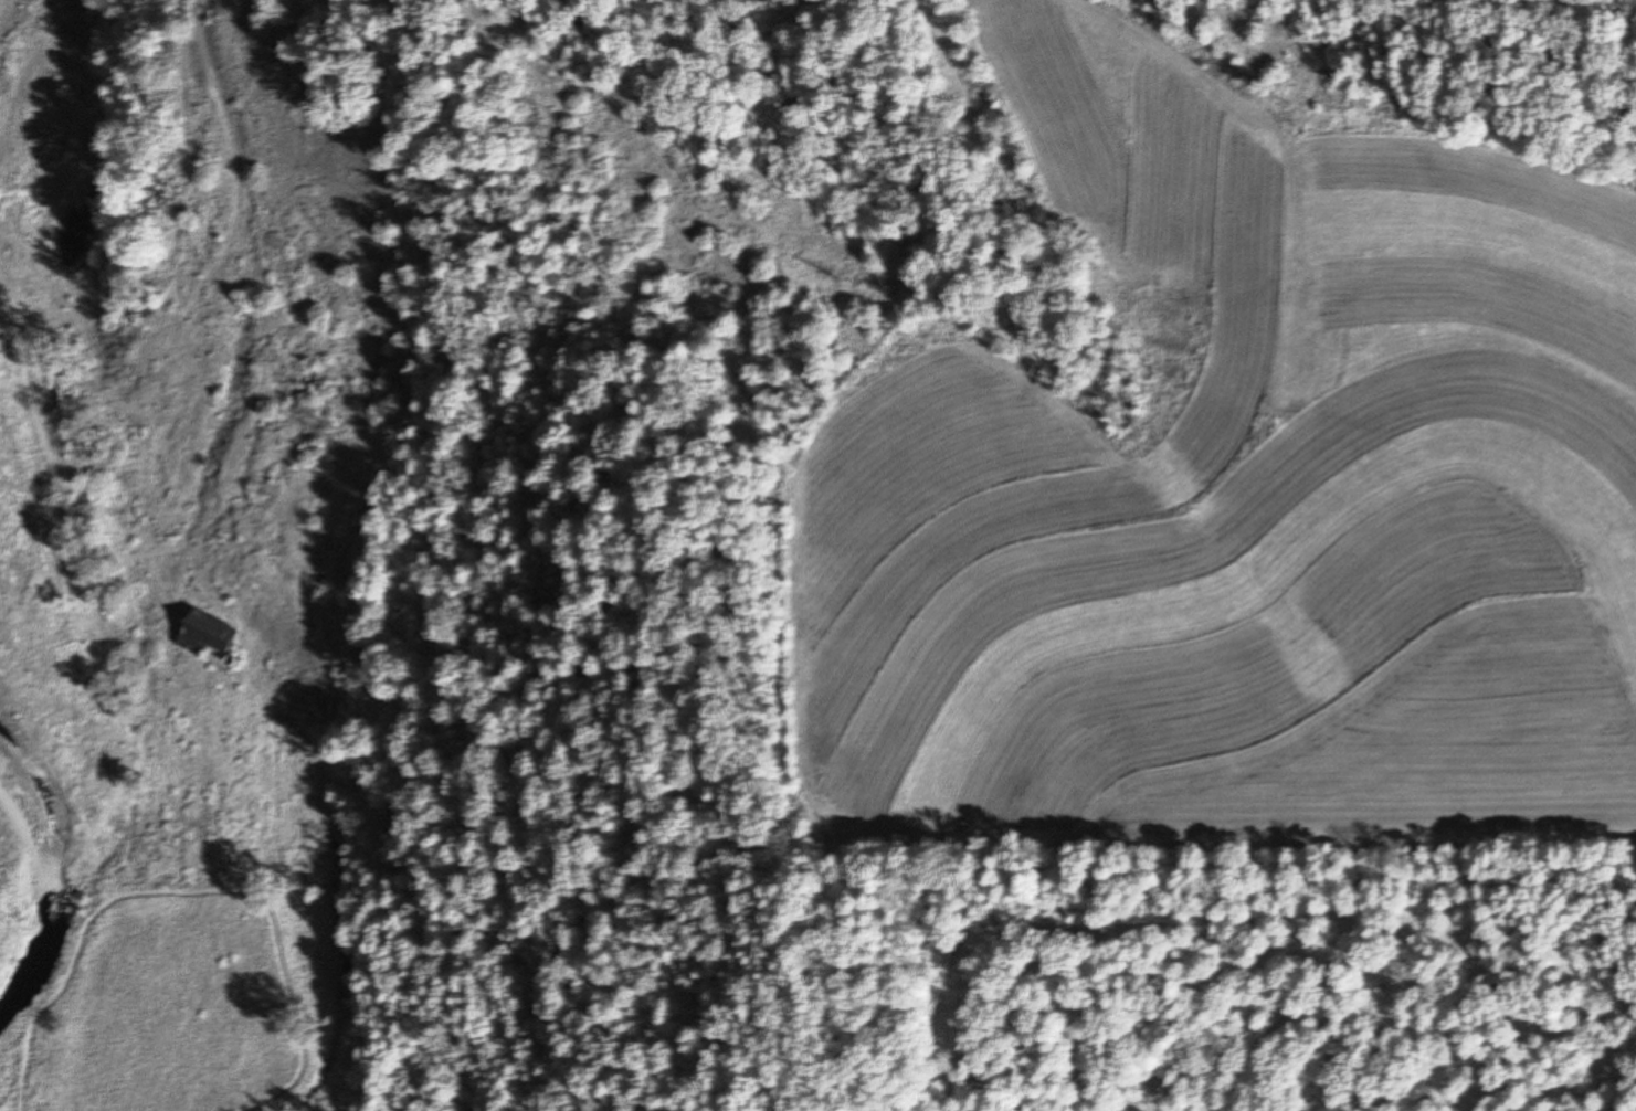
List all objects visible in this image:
road: (32, 307)
building: (201, 634)

